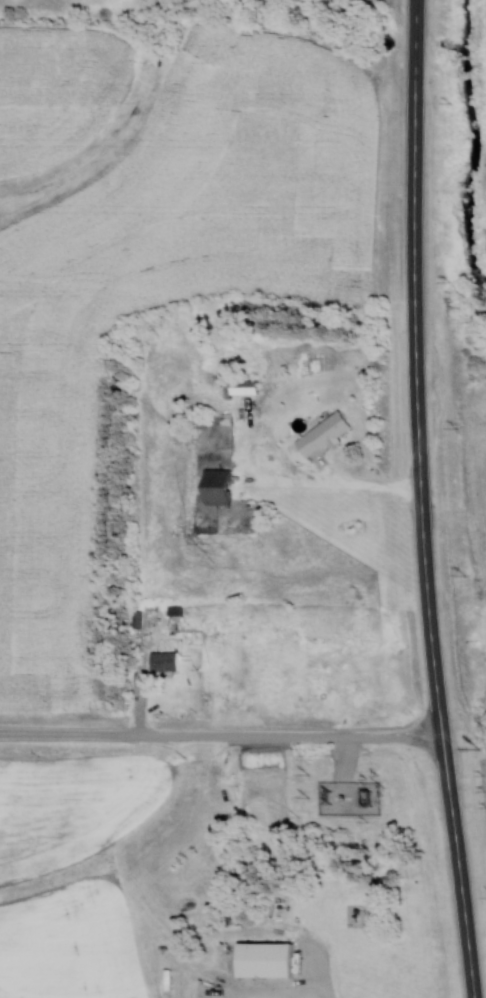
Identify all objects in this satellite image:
building: (243, 385)
building: (323, 433)
road: (364, 485)
road: (421, 500)
building: (163, 659)
road: (224, 736)
building: (262, 957)

